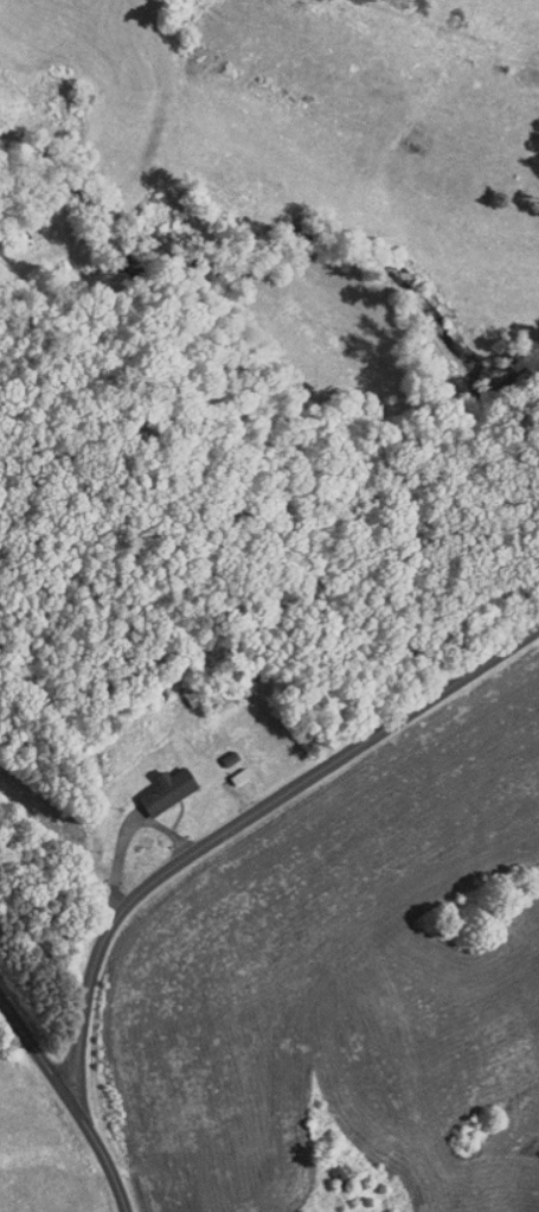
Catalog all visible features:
building: (154, 783)
road: (246, 819)
road: (64, 1098)
building: (323, 1166)

